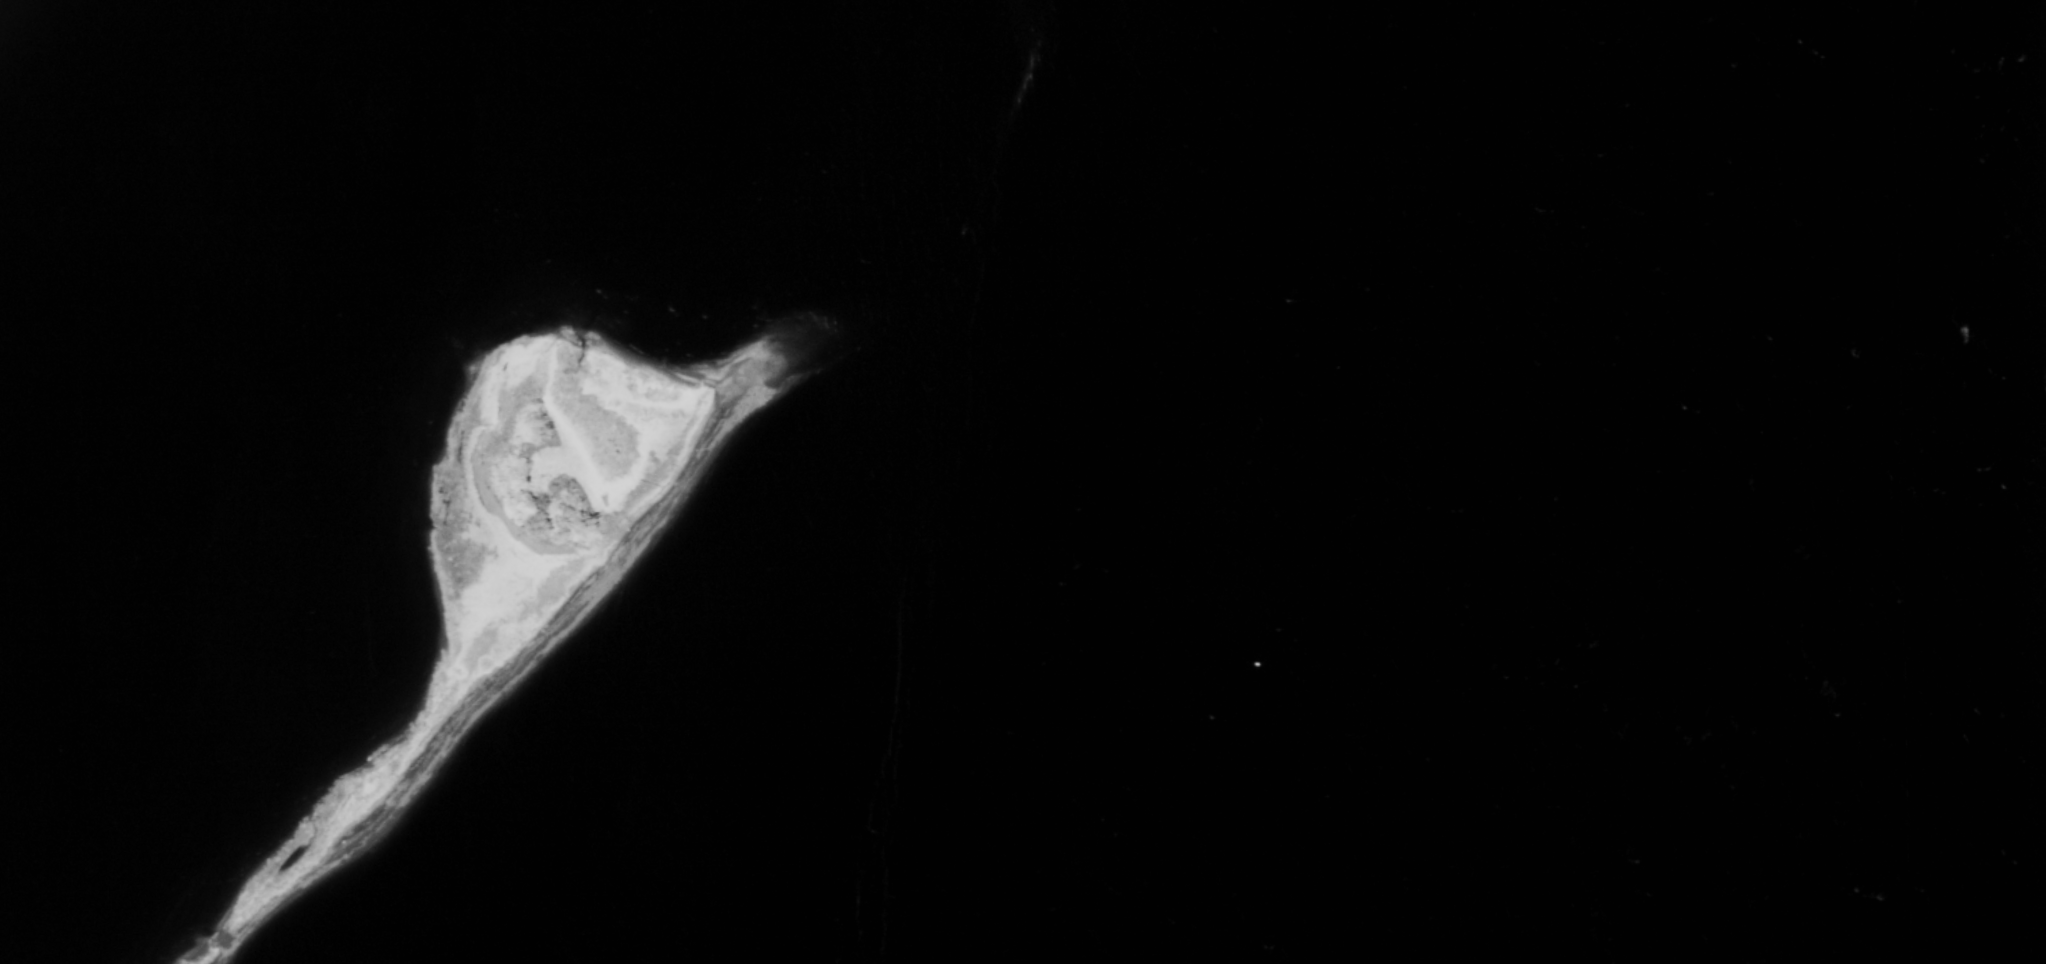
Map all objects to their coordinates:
river: (1845, 490)

